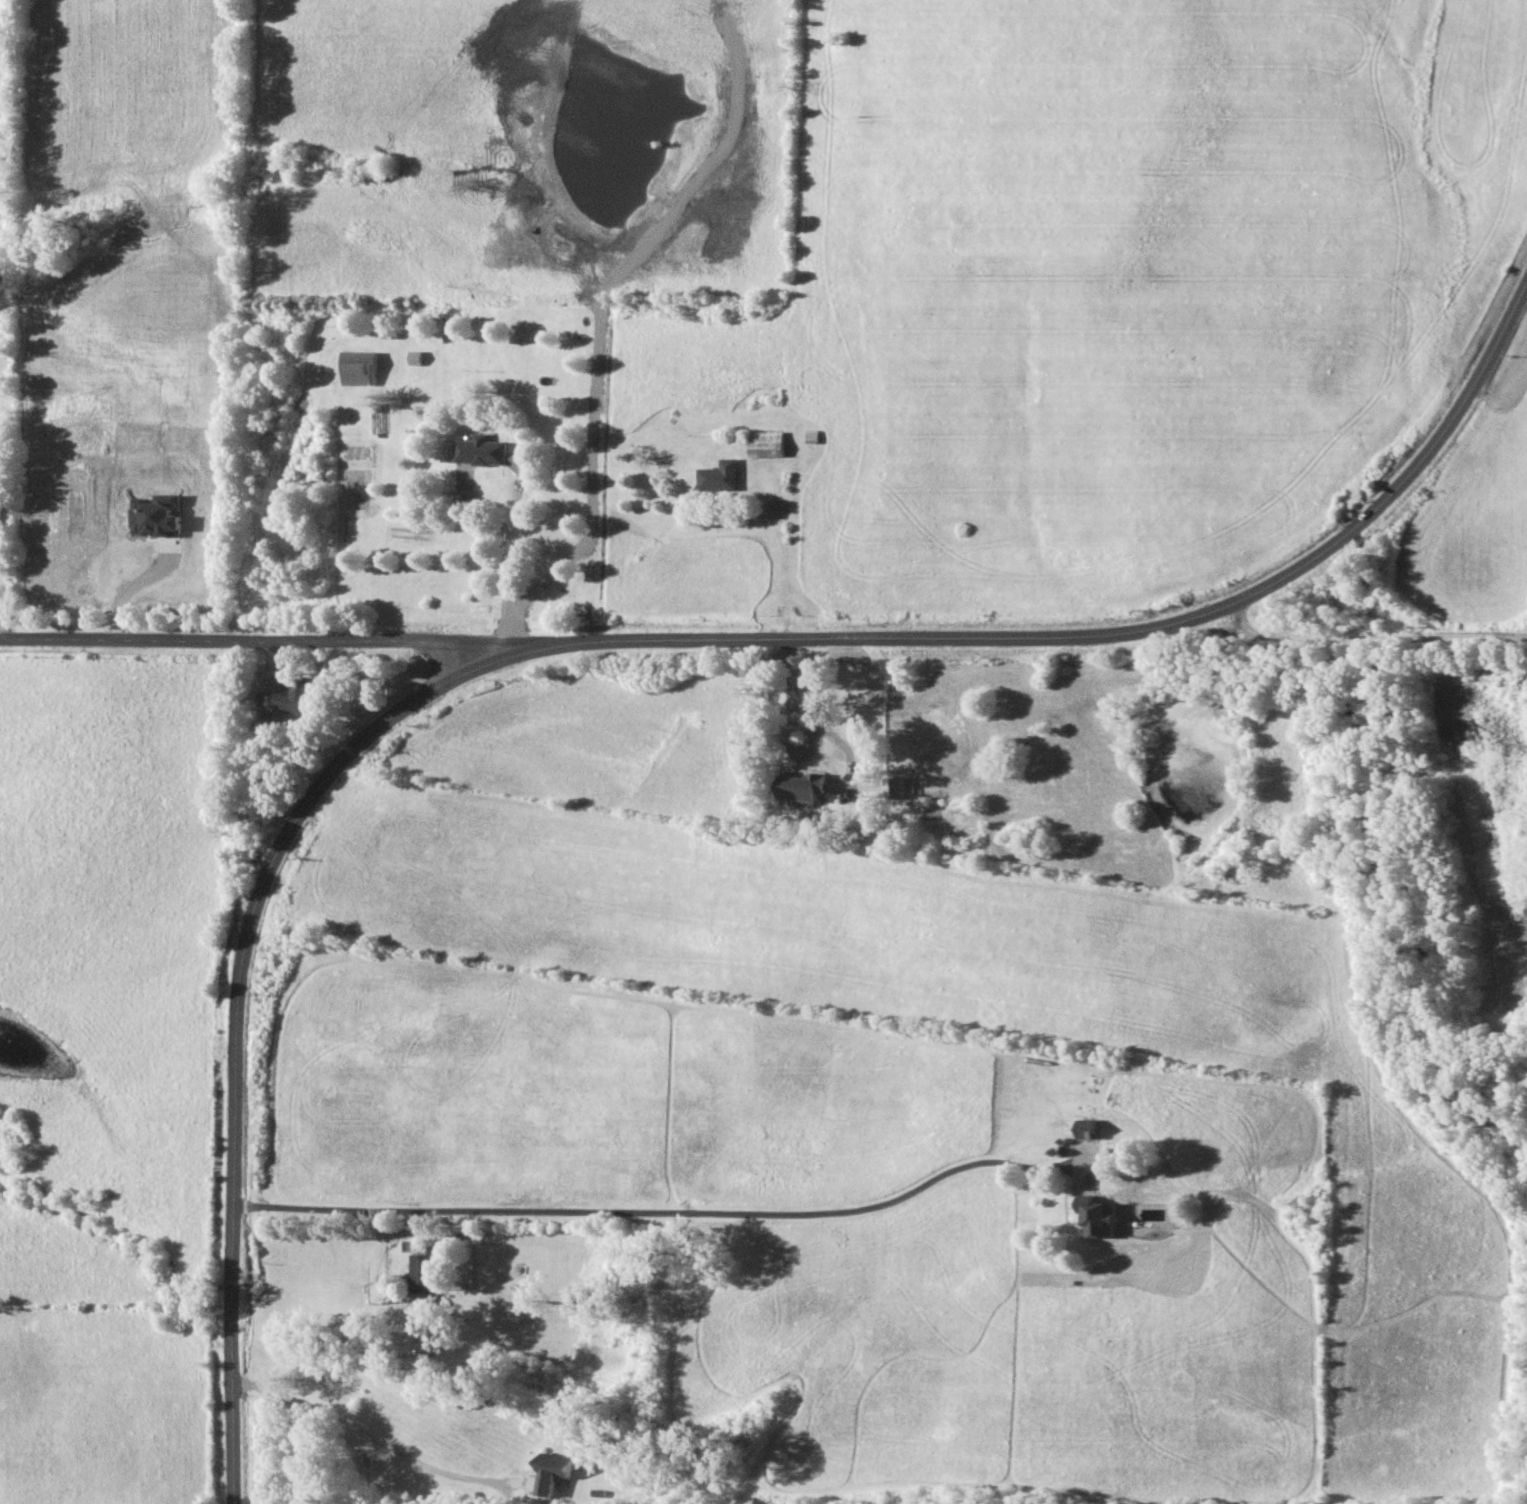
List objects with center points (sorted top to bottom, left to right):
building: (5, 347)
building: (359, 368)
building: (481, 451)
building: (721, 476)
road: (1399, 493)
building: (157, 515)
building: (1, 516)
road: (507, 546)
road: (137, 585)
road: (260, 640)
road: (862, 641)
road: (447, 658)
building: (296, 696)
road: (816, 734)
building: (799, 787)
road: (234, 1011)
building: (1089, 1128)
road: (664, 1212)
building: (1097, 1217)
building: (424, 1273)
road: (340, 1363)
road: (367, 1434)
building: (553, 1472)

